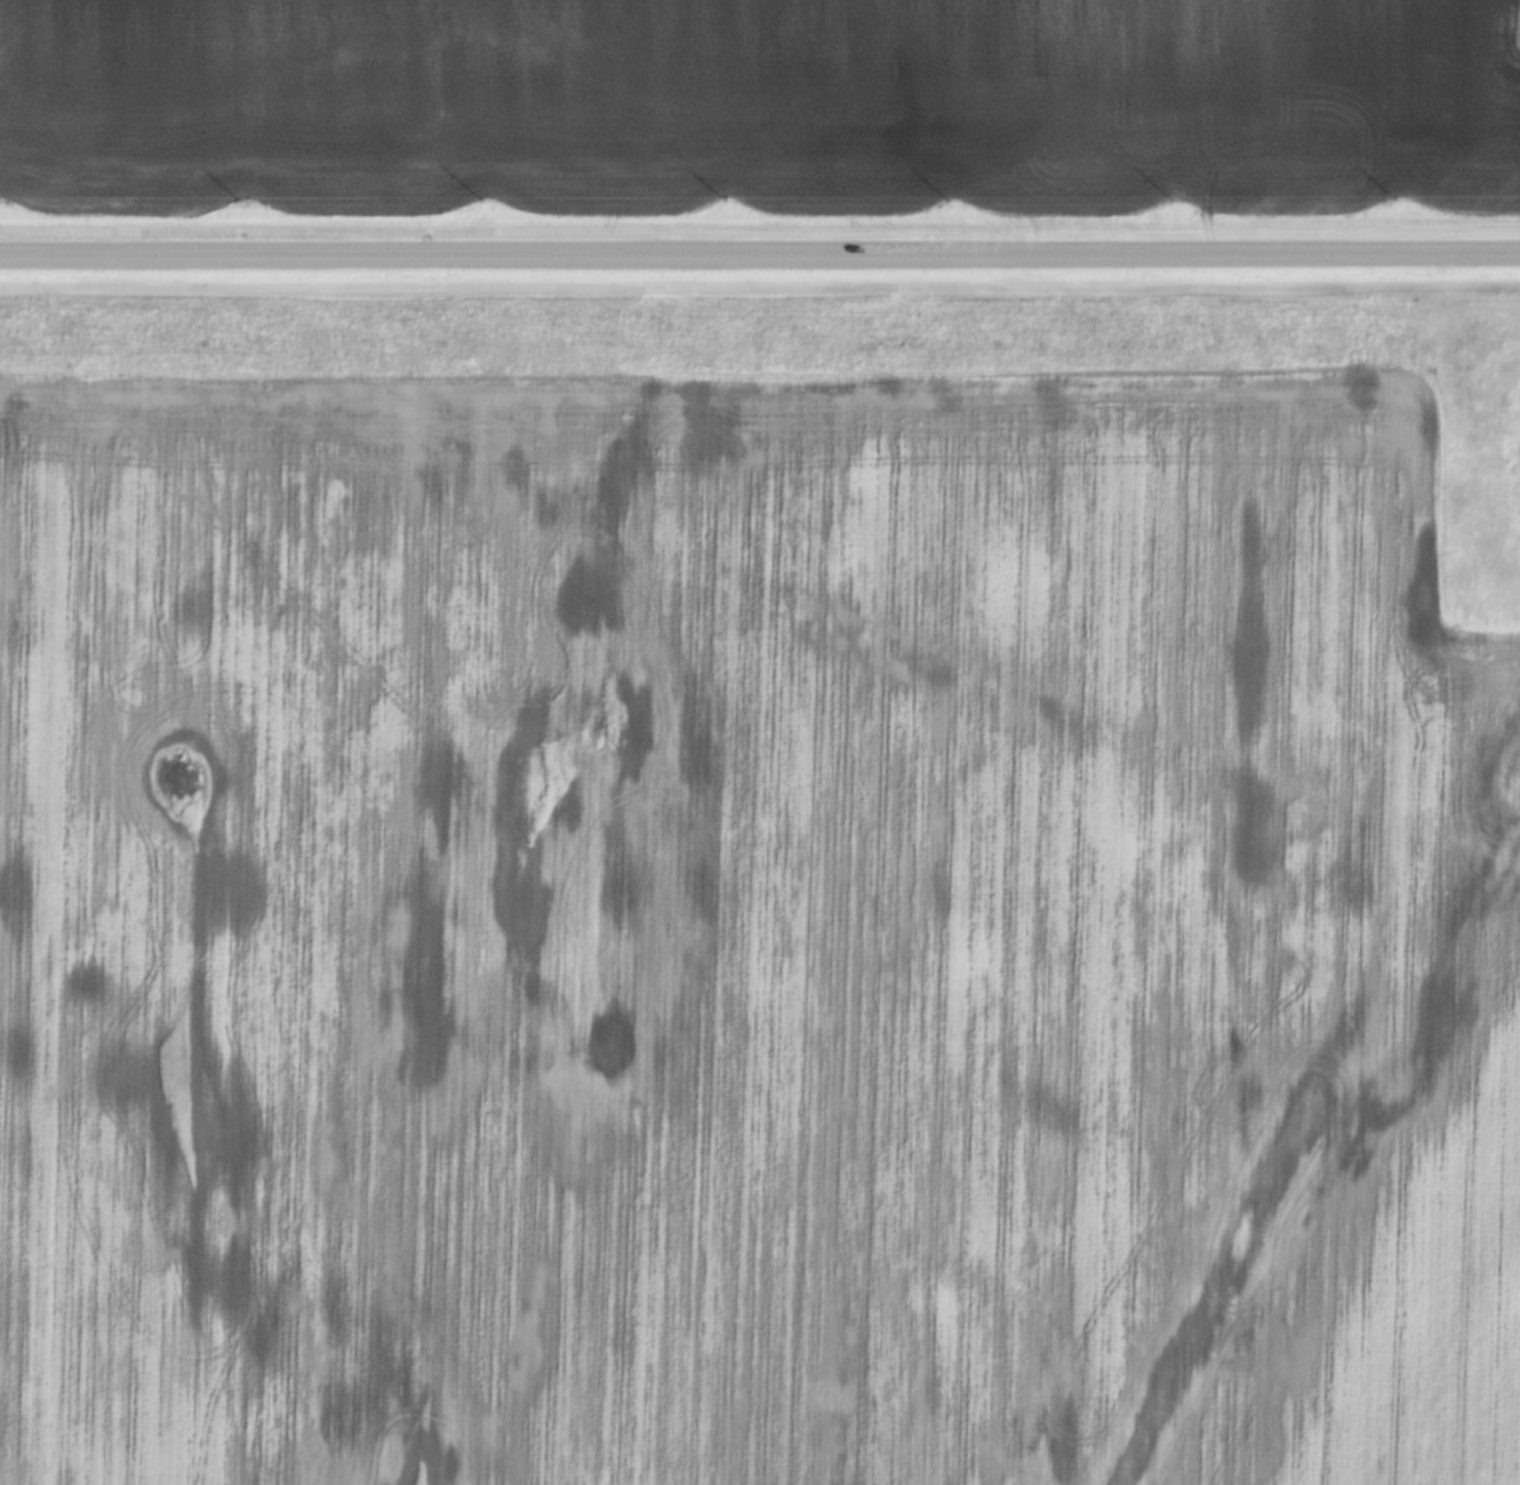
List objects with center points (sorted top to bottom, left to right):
road: (759, 252)

